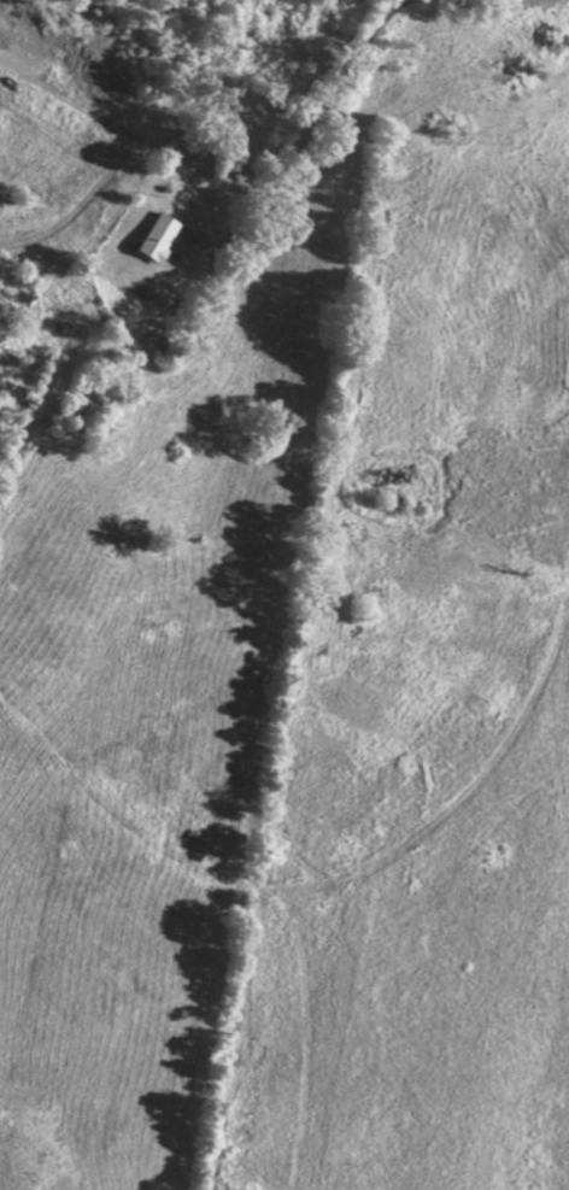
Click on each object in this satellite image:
road: (300, 139)
building: (83, 415)

